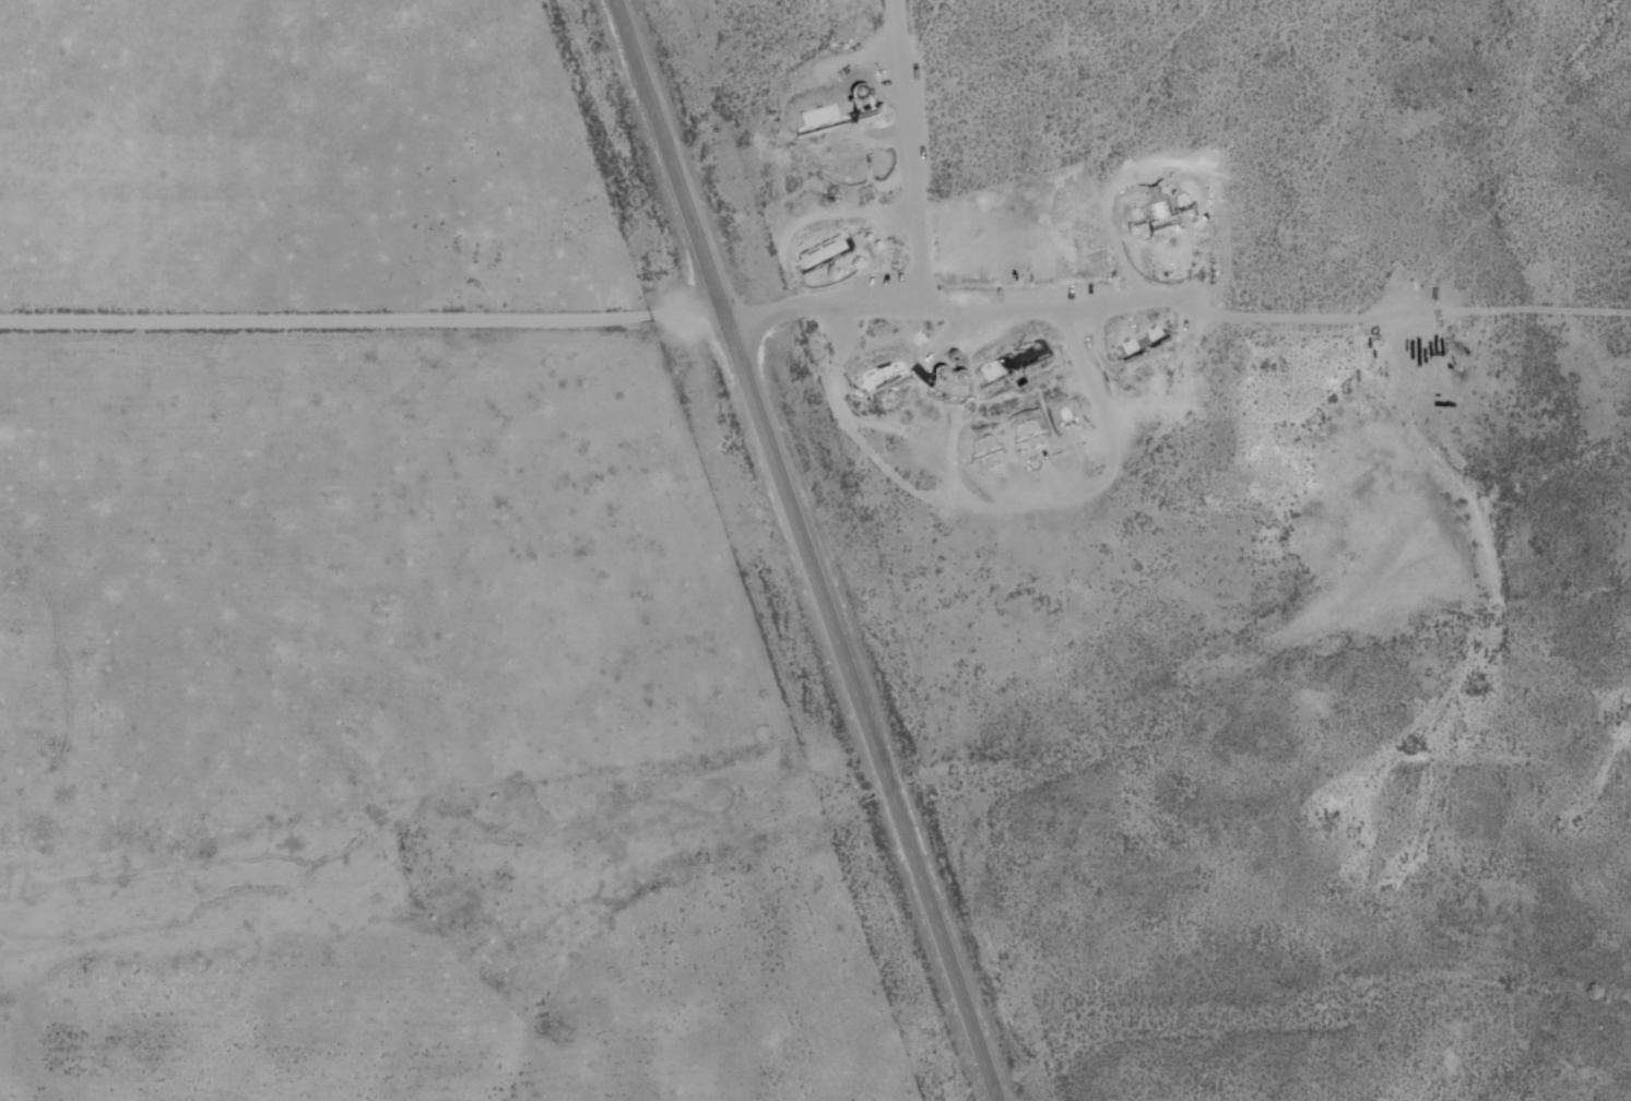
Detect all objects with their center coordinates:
building: (859, 99)
building: (824, 118)
road: (910, 150)
building: (1138, 214)
road: (860, 218)
road: (885, 226)
building: (824, 250)
road: (1077, 301)
road: (1092, 330)
building: (1139, 334)
road: (980, 339)
building: (1013, 356)
building: (877, 376)
building: (953, 380)
road: (830, 390)
road: (1114, 413)
building: (1028, 429)
building: (984, 442)
road: (819, 548)
road: (440, 651)
road: (1263, 772)

